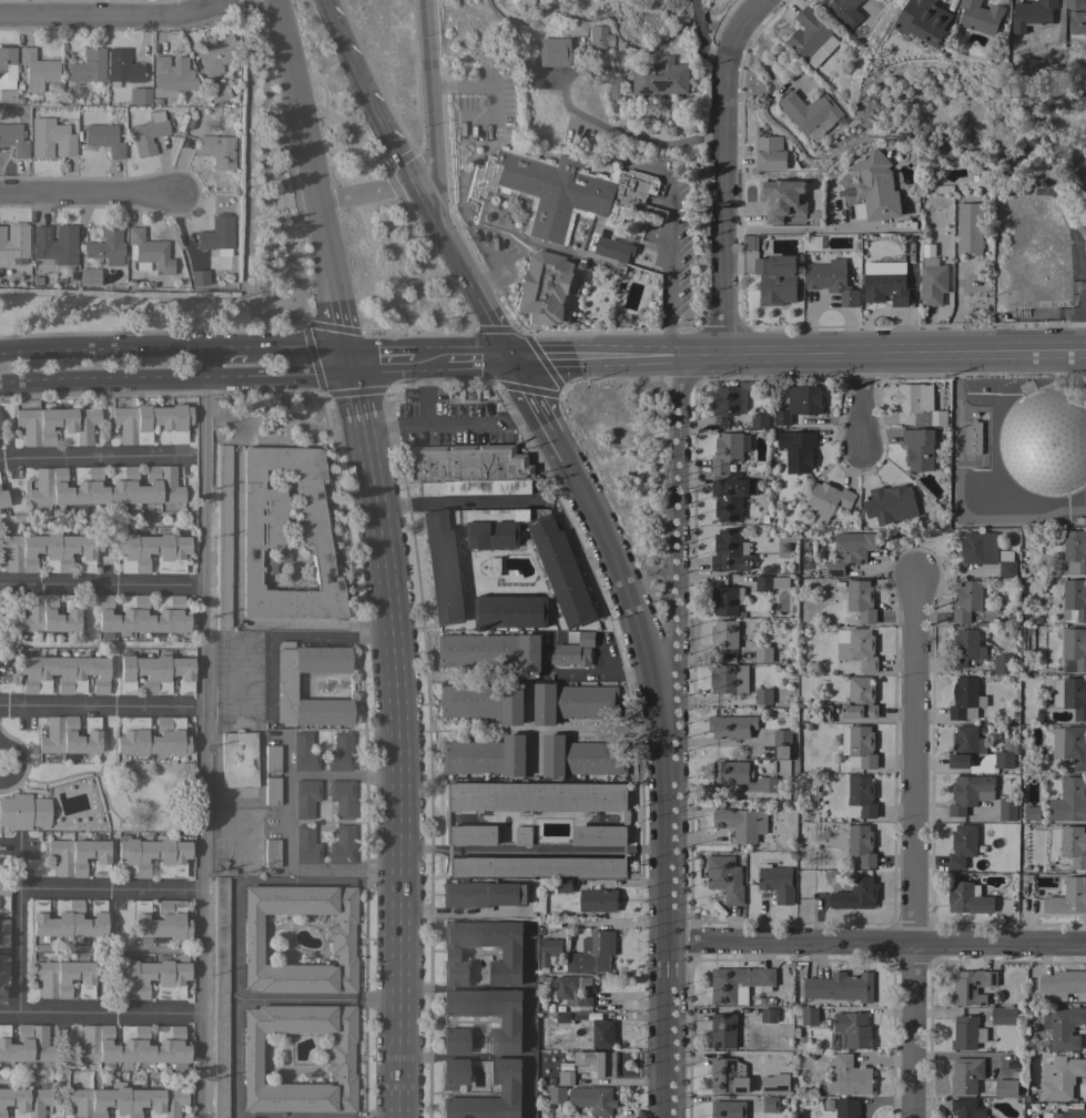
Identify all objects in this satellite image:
building: (840, 7)
building: (1077, 16)
building: (981, 17)
building: (1033, 17)
road: (120, 19)
building: (924, 21)
building: (596, 38)
building: (811, 38)
road: (701, 40)
building: (552, 51)
building: (214, 55)
building: (7, 65)
building: (88, 65)
building: (122, 68)
building: (37, 69)
building: (173, 74)
building: (659, 78)
road: (489, 82)
building: (611, 83)
building: (219, 92)
road: (368, 92)
building: (140, 95)
road: (427, 96)
building: (812, 112)
building: (148, 133)
road: (629, 135)
building: (50, 139)
building: (104, 139)
building: (13, 140)
building: (217, 149)
building: (770, 153)
road: (725, 173)
road: (313, 180)
building: (874, 189)
road: (87, 193)
road: (366, 193)
building: (781, 200)
building: (559, 204)
building: (937, 217)
building: (968, 228)
road: (816, 231)
building: (216, 233)
building: (14, 243)
building: (55, 243)
building: (749, 243)
building: (106, 245)
building: (149, 253)
road: (669, 264)
road: (463, 271)
building: (89, 276)
building: (199, 276)
building: (775, 279)
building: (831, 281)
building: (885, 283)
building: (932, 285)
building: (542, 288)
road: (174, 348)
road: (882, 355)
road: (593, 358)
road: (429, 359)
traffic signals: (511, 359)
traffic signals: (348, 362)
road: (205, 364)
road: (175, 380)
road: (426, 392)
building: (467, 393)
road: (356, 399)
building: (729, 400)
road: (856, 402)
building: (799, 404)
building: (918, 405)
road: (537, 409)
road: (451, 421)
building: (759, 421)
building: (152, 423)
building: (78, 426)
building: (1, 429)
building: (972, 438)
building: (1045, 440)
building: (918, 449)
building: (798, 450)
building: (729, 453)
road: (94, 455)
building: (466, 463)
building: (102, 486)
building: (474, 487)
road: (957, 491)
building: (729, 499)
building: (2, 500)
road: (459, 500)
building: (828, 500)
building: (895, 501)
building: (263, 536)
building: (224, 537)
road: (200, 542)
building: (978, 548)
building: (48, 551)
building: (152, 551)
building: (729, 551)
building: (850, 551)
building: (1074, 553)
building: (275, 560)
building: (493, 567)
building: (1006, 569)
road: (678, 580)
building: (769, 583)
road: (100, 585)
building: (567, 585)
building: (724, 600)
building: (967, 601)
building: (1074, 601)
building: (860, 603)
building: (510, 612)
building: (49, 613)
building: (142, 613)
road: (316, 623)
road: (637, 624)
road: (295, 634)
building: (723, 634)
building: (965, 648)
building: (574, 650)
building: (863, 650)
building: (1074, 650)
building: (491, 651)
building: (762, 654)
building: (1003, 664)
road: (597, 670)
building: (62, 673)
building: (155, 673)
building: (729, 679)
building: (285, 684)
building: (1070, 695)
building: (765, 697)
building: (860, 699)
building: (965, 700)
building: (484, 702)
building: (574, 702)
road: (100, 705)
building: (823, 714)
building: (731, 726)
road: (582, 729)
road: (273, 734)
building: (70, 735)
building: (151, 736)
building: (781, 743)
building: (1070, 745)
building: (965, 746)
building: (859, 748)
building: (304, 752)
building: (341, 752)
building: (485, 756)
building: (581, 758)
building: (238, 759)
building: (272, 759)
building: (996, 760)
building: (731, 773)
road: (342, 775)
road: (398, 776)
building: (768, 784)
road: (260, 786)
building: (272, 790)
building: (970, 793)
building: (306, 796)
building: (342, 796)
building: (534, 796)
road: (199, 797)
building: (861, 799)
building: (1068, 801)
road: (286, 805)
building: (1007, 810)
building: (24, 811)
building: (1029, 813)
building: (741, 824)
building: (470, 835)
building: (522, 835)
building: (598, 835)
building: (306, 844)
building: (343, 845)
building: (862, 845)
building: (962, 845)
building: (1074, 846)
road: (420, 847)
road: (445, 848)
road: (646, 848)
road: (911, 848)
road: (477, 850)
road: (581, 851)
road: (623, 851)
building: (272, 852)
building: (78, 855)
building: (152, 856)
building: (536, 866)
road: (348, 871)
road: (664, 872)
building: (724, 878)
building: (777, 882)
building: (564, 885)
road: (108, 890)
building: (479, 894)
building: (3, 895)
building: (855, 895)
building: (968, 898)
building: (1068, 898)
building: (598, 901)
road: (460, 914)
building: (68, 918)
building: (161, 921)
road: (610, 924)
road: (18, 926)
building: (3, 932)
road: (874, 943)
building: (342, 946)
building: (549, 951)
road: (197, 952)
building: (593, 953)
building: (511, 954)
building: (3, 969)
building: (153, 976)
building: (64, 977)
building: (738, 984)
building: (1062, 984)
building: (841, 987)
building: (972, 987)
building: (572, 989)
building: (221, 996)
road: (233, 998)
road: (315, 998)
road: (99, 1013)
building: (489, 1014)
building: (769, 1016)
building: (809, 1016)
building: (1003, 1016)
building: (564, 1017)
building: (1064, 1027)
road: (663, 1028)
building: (725, 1031)
building: (850, 1031)
building: (966, 1033)
building: (602, 1034)
building: (454, 1041)
building: (27, 1044)
building: (132, 1045)
road: (722, 1055)
building: (338, 1064)
building: (596, 1064)
road: (196, 1065)
building: (453, 1073)
building: (965, 1076)
building: (1060, 1076)
building: (728, 1077)
building: (849, 1077)
building: (566, 1078)
building: (774, 1084)
building: (1006, 1088)
building: (511, 1090)
building: (557, 1095)
building: (592, 1099)
building: (26, 1100)
building: (125, 1101)
building: (770, 1105)
building: (846, 1108)
building: (965, 1108)
building: (728, 1109)
building: (1067, 1114)

